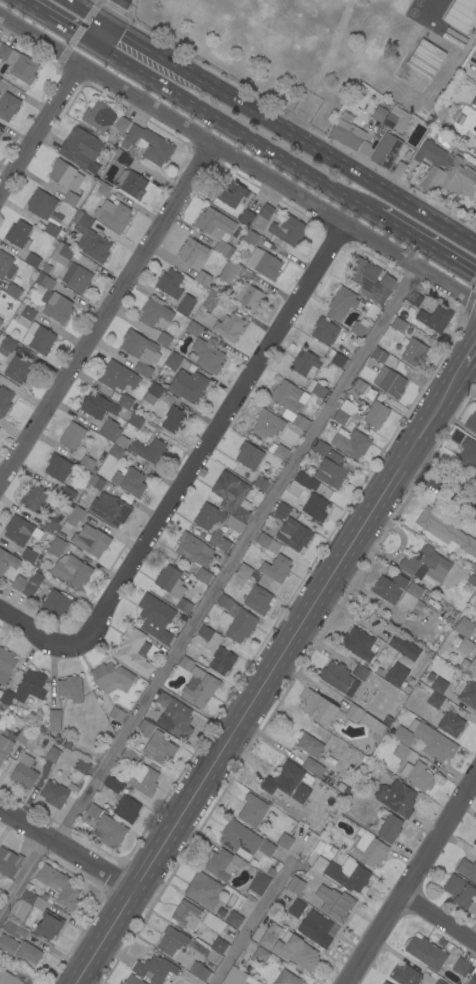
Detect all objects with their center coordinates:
road: (86, 11)
road: (111, 11)
building: (461, 15)
road: (60, 21)
road: (99, 33)
building: (456, 35)
building: (452, 40)
park: (289, 42)
building: (473, 54)
building: (426, 60)
building: (18, 64)
building: (0, 79)
building: (473, 103)
building: (8, 106)
building: (380, 108)
building: (99, 115)
building: (438, 115)
building: (396, 119)
building: (121, 123)
road: (235, 127)
building: (0, 129)
road: (41, 129)
building: (0, 133)
road: (291, 133)
building: (347, 134)
building: (161, 145)
building: (81, 149)
building: (386, 151)
building: (124, 159)
road: (238, 160)
building: (399, 169)
building: (441, 171)
building: (64, 175)
building: (131, 184)
building: (104, 190)
building: (231, 194)
building: (70, 198)
building: (45, 211)
building: (112, 215)
building: (263, 216)
building: (247, 218)
building: (214, 223)
building: (290, 231)
building: (18, 234)
building: (250, 237)
building: (90, 238)
road: (426, 242)
building: (223, 248)
building: (192, 253)
building: (62, 254)
building: (32, 260)
building: (263, 264)
building: (6, 265)
building: (229, 272)
building: (76, 278)
building: (203, 278)
building: (367, 280)
building: (387, 281)
building: (170, 284)
building: (12, 291)
building: (247, 296)
building: (53, 300)
building: (210, 300)
building: (341, 303)
building: (185, 305)
road: (105, 313)
building: (154, 313)
building: (442, 314)
building: (24, 315)
building: (0, 320)
building: (398, 324)
building: (229, 327)
building: (358, 327)
building: (193, 329)
building: (324, 331)
building: (38, 338)
building: (164, 339)
building: (7, 346)
building: (140, 347)
building: (414, 352)
building: (379, 355)
building: (207, 356)
building: (335, 358)
building: (172, 361)
building: (306, 363)
building: (142, 369)
building: (18, 371)
building: (117, 376)
building: (392, 384)
building: (188, 386)
building: (364, 389)
building: (319, 391)
building: (152, 393)
building: (4, 400)
building: (126, 402)
building: (290, 402)
building: (97, 406)
building: (349, 408)
building: (375, 415)
building: (340, 417)
building: (0, 419)
building: (174, 420)
building: (135, 421)
building: (471, 422)
building: (267, 424)
building: (349, 424)
building: (109, 430)
building: (72, 436)
road: (212, 437)
building: (121, 441)
building: (263, 444)
building: (351, 444)
building: (321, 448)
building: (149, 450)
building: (277, 450)
building: (116, 452)
building: (468, 453)
building: (249, 455)
building: (127, 457)
building: (86, 463)
building: (57, 468)
building: (331, 471)
building: (305, 481)
building: (96, 482)
building: (129, 482)
building: (261, 483)
road: (441, 485)
building: (229, 490)
building: (67, 494)
building: (33, 498)
building: (82, 505)
building: (316, 507)
building: (109, 509)
building: (242, 511)
building: (75, 516)
building: (208, 516)
building: (47, 524)
building: (233, 524)
building: (291, 528)
building: (20, 531)
building: (445, 531)
building: (90, 540)
building: (218, 541)
building: (267, 543)
building: (56, 546)
building: (192, 550)
building: (28, 555)
building: (214, 555)
road: (232, 557)
building: (7, 561)
building: (425, 564)
building: (276, 568)
building: (243, 571)
building: (73, 572)
building: (202, 575)
building: (471, 580)
building: (18, 582)
building: (33, 584)
building: (173, 588)
building: (390, 588)
building: (226, 597)
building: (412, 598)
building: (472, 599)
building: (258, 601)
building: (55, 603)
building: (182, 617)
building: (155, 618)
building: (475, 621)
building: (238, 623)
building: (464, 627)
road: (34, 630)
building: (208, 634)
building: (360, 644)
building: (465, 646)
building: (404, 647)
building: (134, 650)
building: (221, 661)
building: (185, 663)
building: (6, 665)
building: (469, 667)
road: (274, 668)
building: (378, 671)
building: (359, 672)
building: (396, 674)
building: (430, 676)
building: (111, 678)
building: (338, 678)
building: (438, 685)
building: (199, 687)
building: (70, 688)
building: (24, 691)
building: (466, 693)
building: (163, 699)
building: (434, 700)
building: (316, 707)
building: (1, 712)
building: (116, 714)
building: (54, 720)
building: (388, 720)
building: (365, 721)
building: (450, 724)
building: (176, 725)
building: (145, 728)
building: (20, 740)
building: (426, 740)
building: (309, 745)
building: (4, 747)
building: (158, 749)
building: (401, 752)
building: (53, 753)
building: (128, 755)
building: (82, 766)
building: (312, 767)
building: (24, 772)
building: (290, 775)
building: (417, 776)
building: (143, 779)
building: (113, 784)
building: (300, 793)
building: (53, 794)
building: (108, 794)
building: (396, 798)
building: (125, 809)
building: (252, 810)
building: (92, 811)
building: (388, 828)
building: (109, 831)
building: (239, 839)
building: (284, 841)
building: (474, 842)
building: (266, 847)
building: (369, 850)
road: (63, 855)
building: (9, 862)
building: (220, 864)
building: (467, 870)
building: (271, 872)
road: (19, 873)
building: (342, 873)
road: (411, 879)
building: (258, 883)
building: (295, 885)
building: (58, 886)
building: (203, 890)
building: (460, 893)
building: (335, 902)
building: (296, 908)
building: (186, 914)
building: (18, 915)
road: (439, 918)
building: (233, 919)
road: (249, 922)
building: (48, 925)
building: (316, 929)
building: (171, 941)
building: (266, 941)
building: (7, 945)
building: (218, 946)
building: (296, 951)
building: (426, 952)
building: (28, 953)
building: (260, 956)
building: (461, 967)
building: (153, 969)
building: (199, 971)
building: (404, 975)
building: (235, 976)
building: (8, 978)
building: (287, 978)
building: (132, 980)
building: (472, 981)
building: (384, 982)
building: (439, 982)
building: (381, 983)

